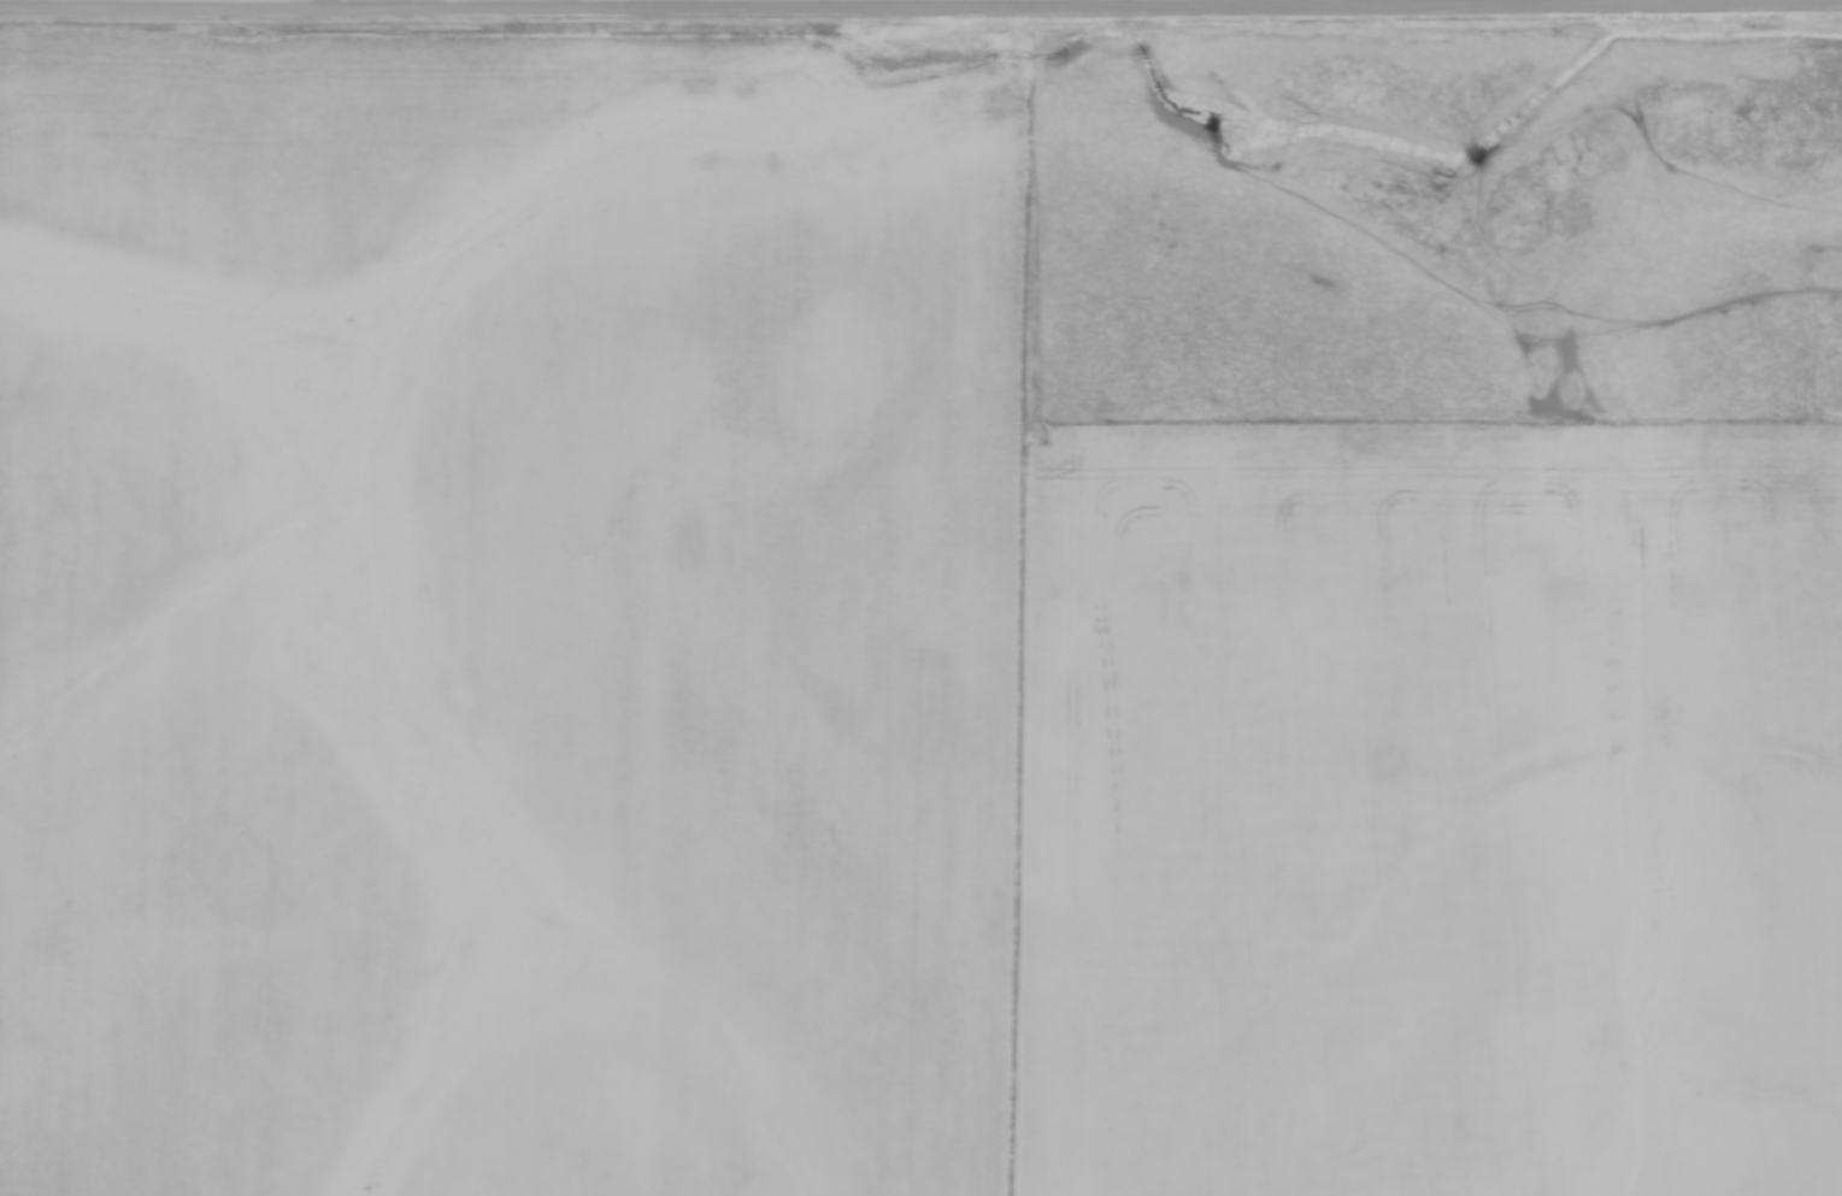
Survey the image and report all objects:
road: (308, 6)
road: (920, 12)

